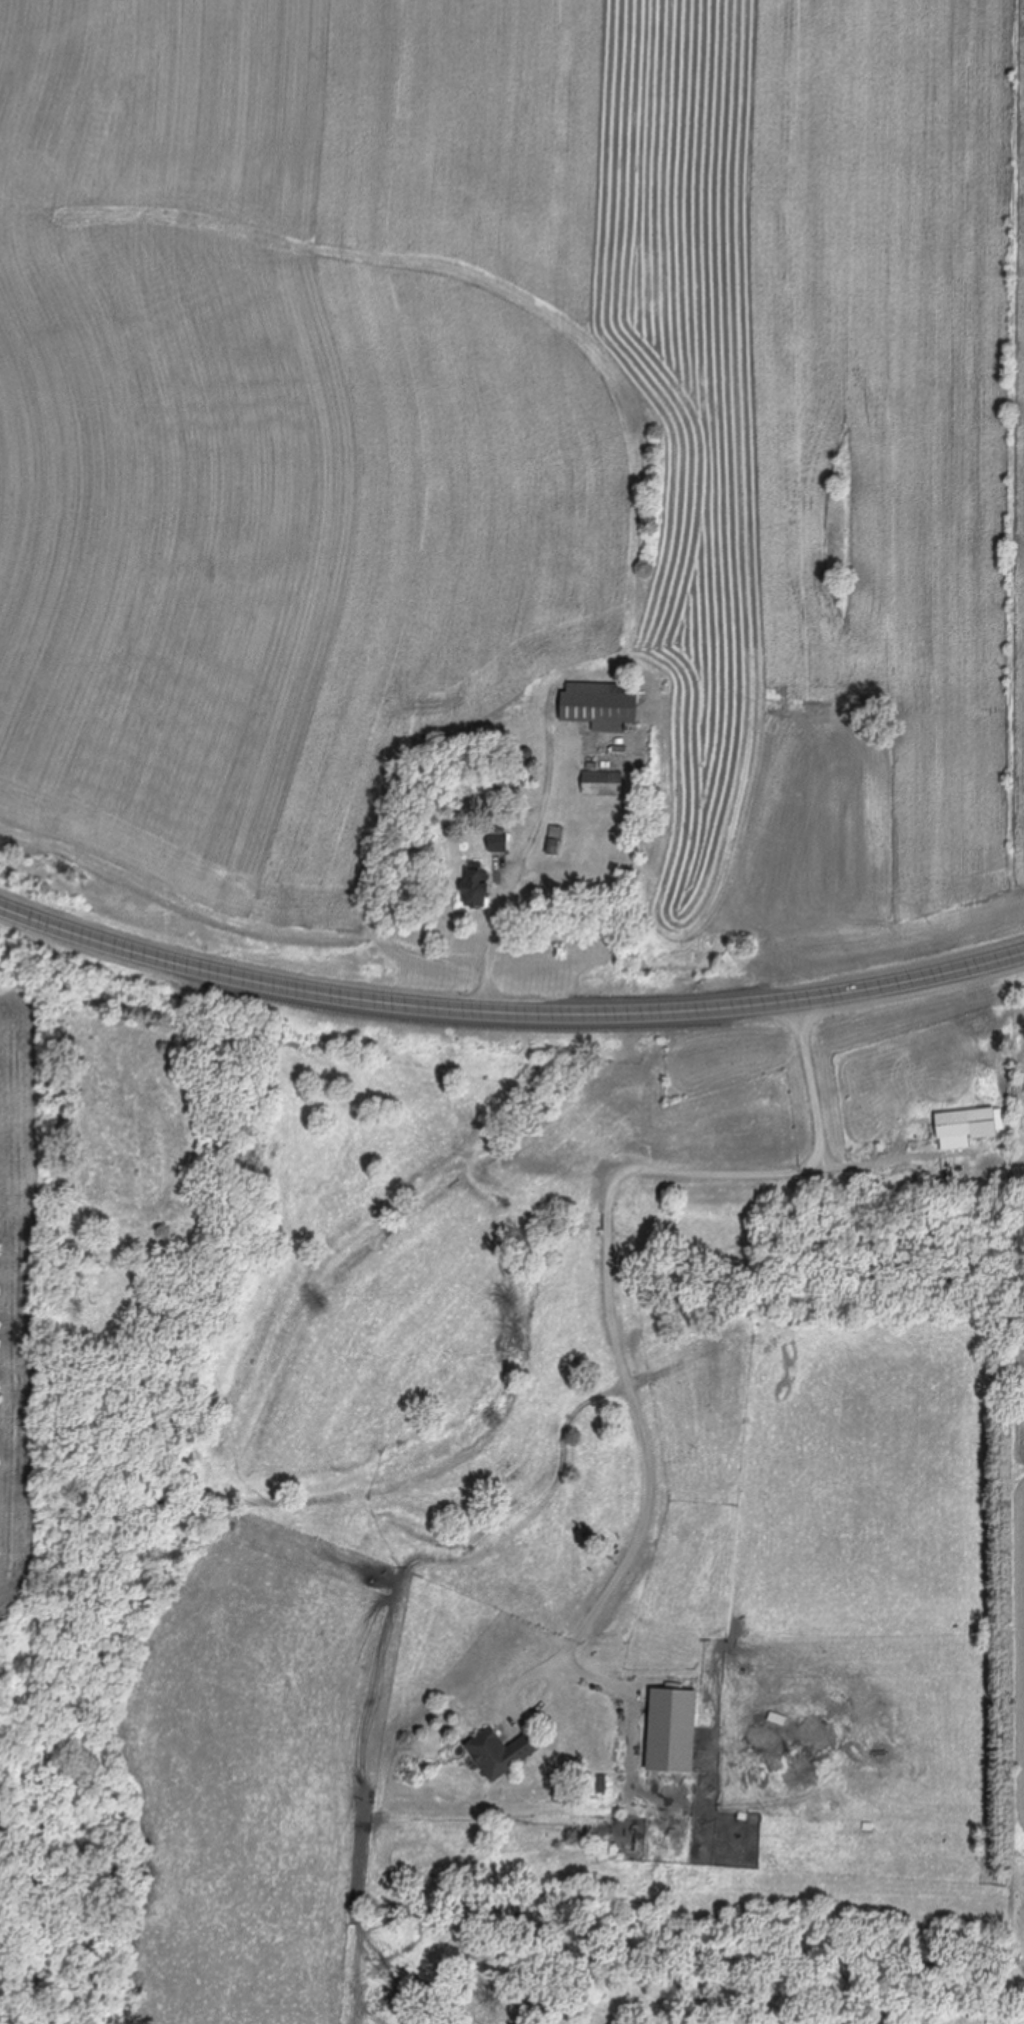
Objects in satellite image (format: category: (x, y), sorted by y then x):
building: (600, 707)
building: (603, 784)
building: (555, 842)
building: (476, 894)
road: (489, 954)
road: (507, 1015)
building: (967, 1127)
road: (610, 1254)
building: (500, 1754)

